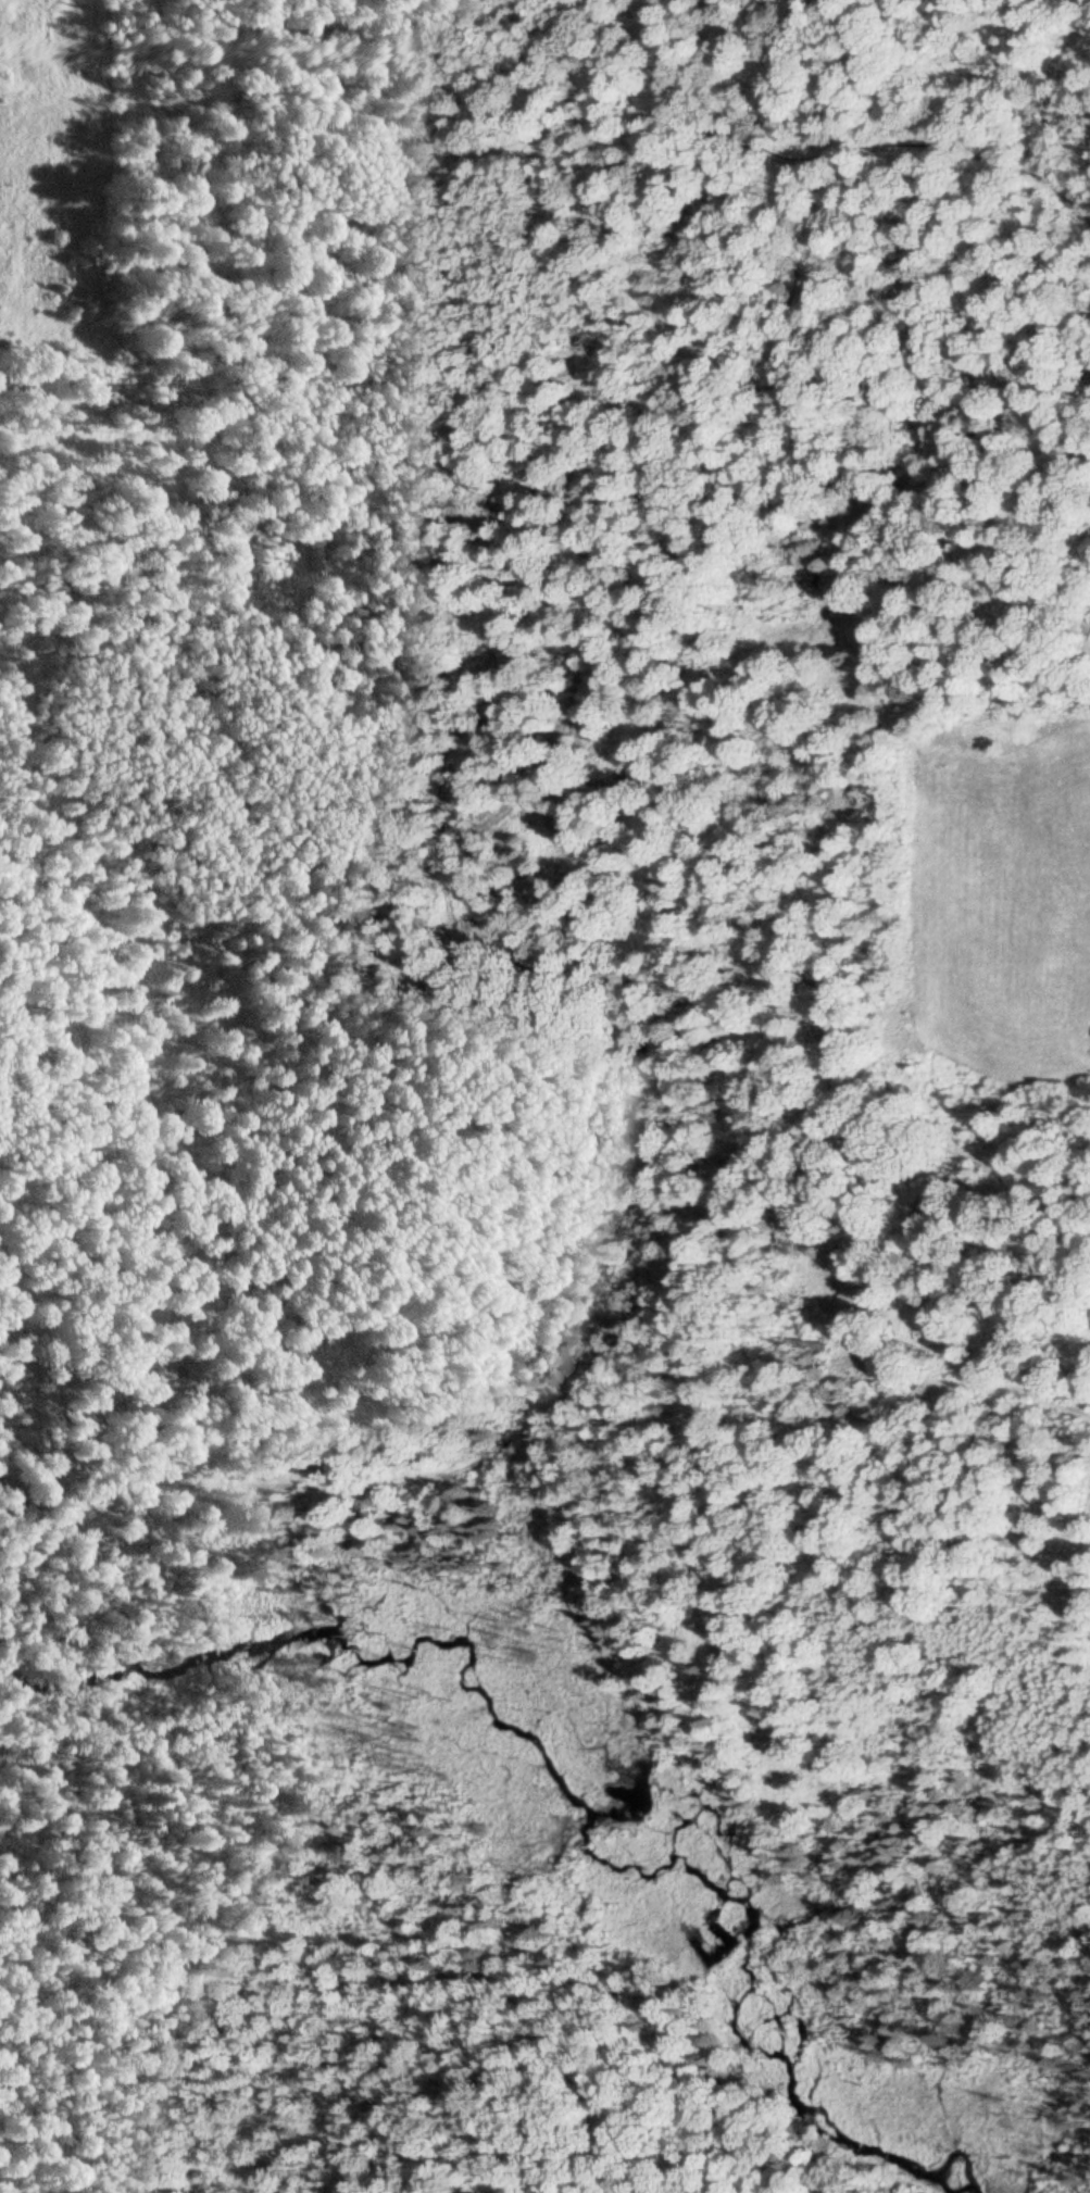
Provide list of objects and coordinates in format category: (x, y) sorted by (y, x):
building: (801, 1346)

